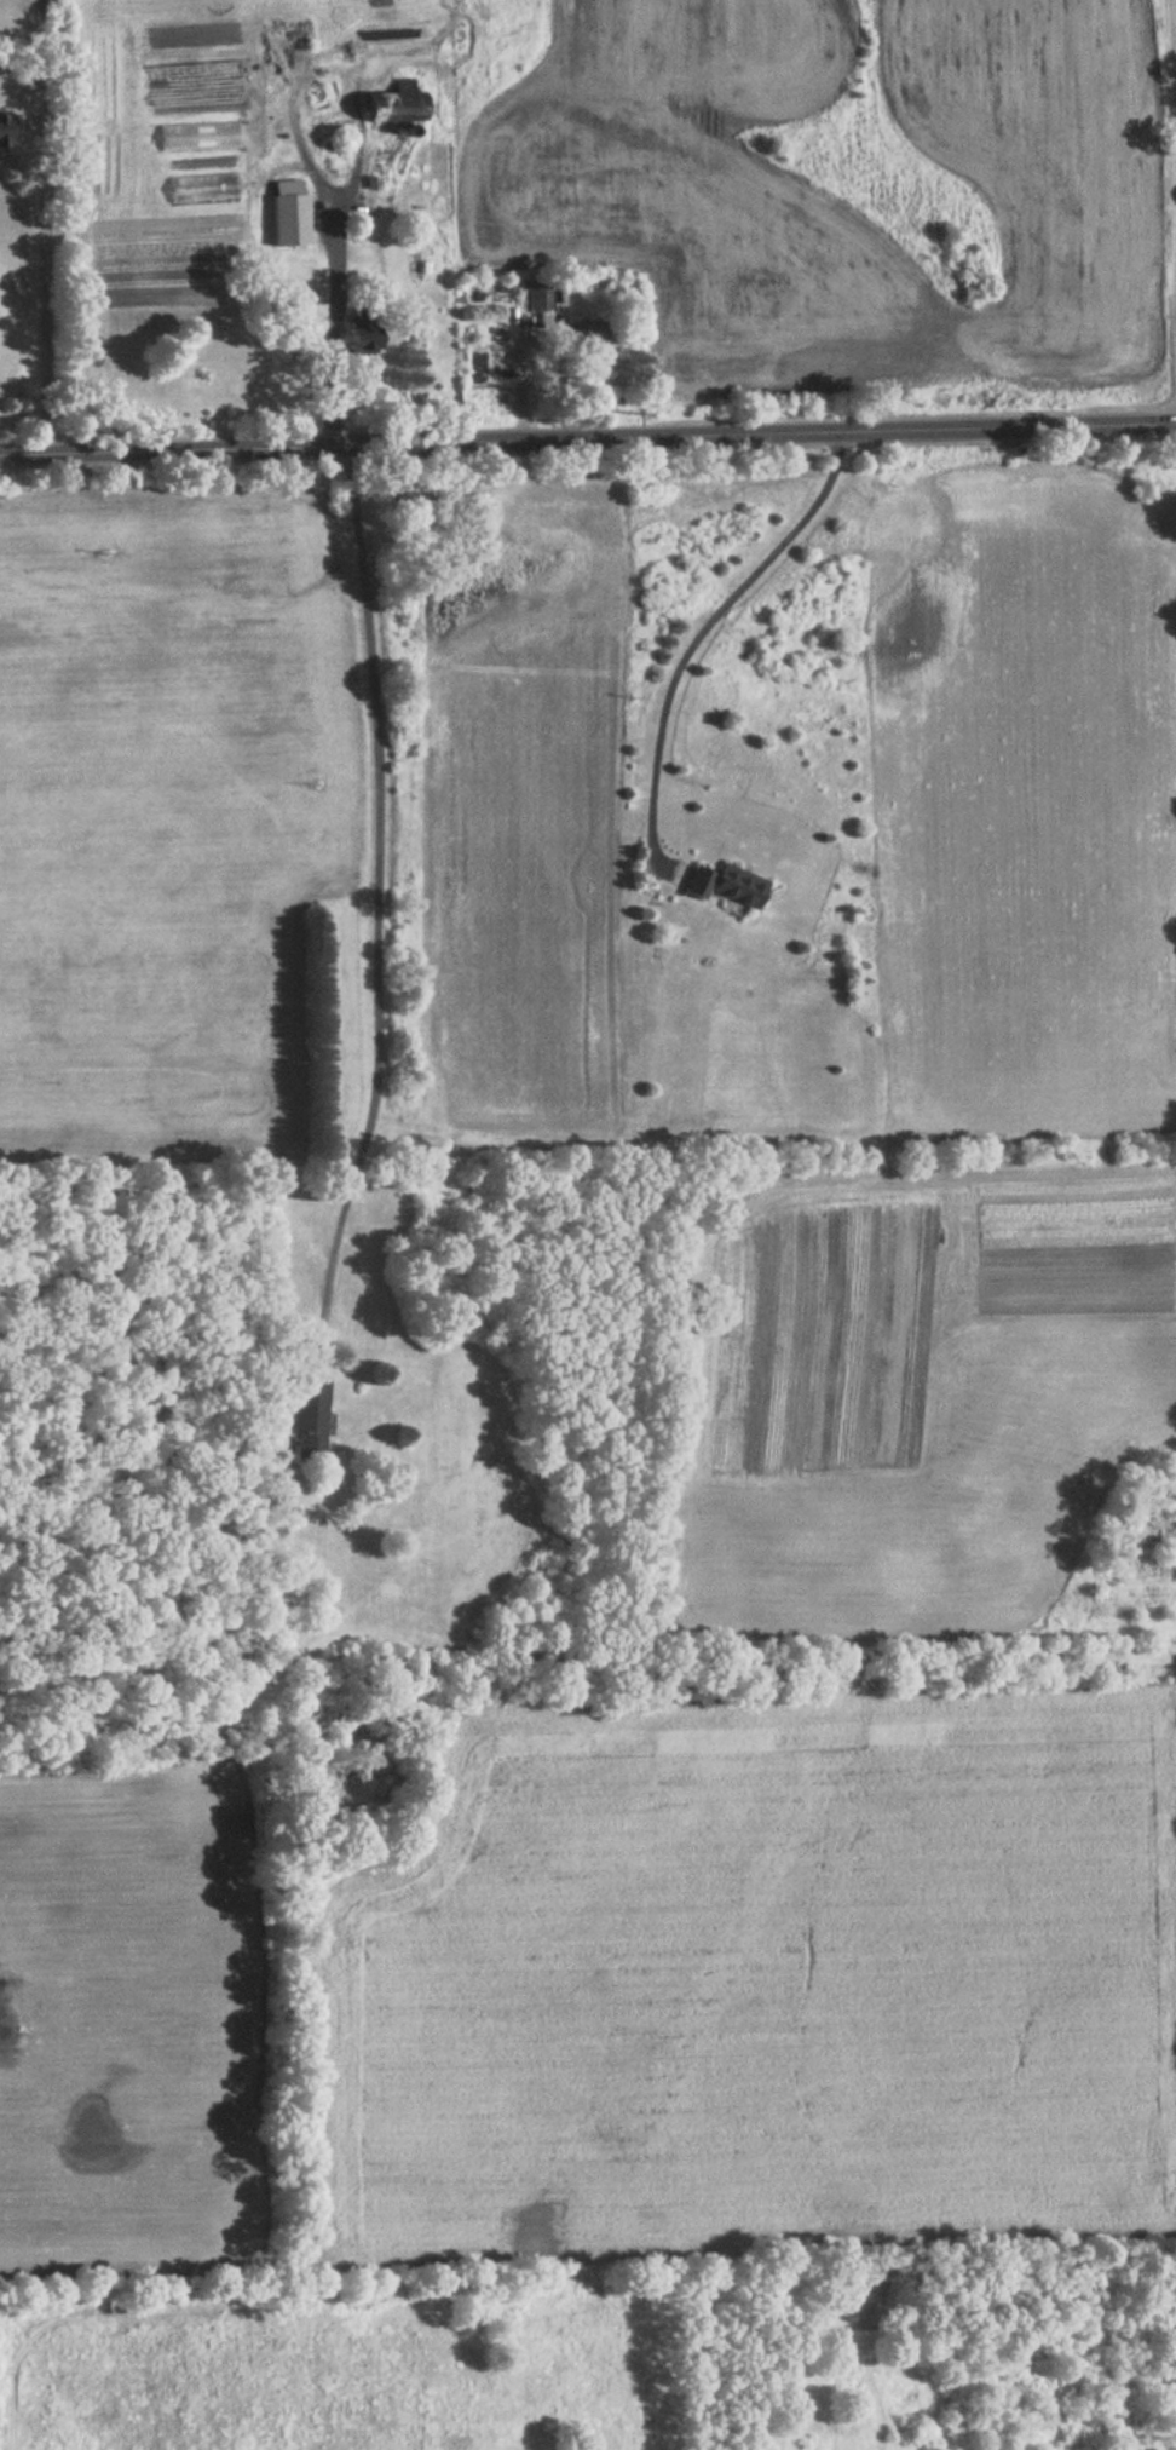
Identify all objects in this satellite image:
building: (392, 105)
building: (2, 130)
building: (288, 219)
road: (48, 297)
building: (544, 298)
road: (330, 327)
building: (362, 329)
building: (590, 332)
road: (587, 439)
road: (698, 631)
road: (377, 882)
building: (721, 886)
building: (306, 1420)
crop: (762, 1977)
crop: (127, 2018)
crop: (334, 2377)

